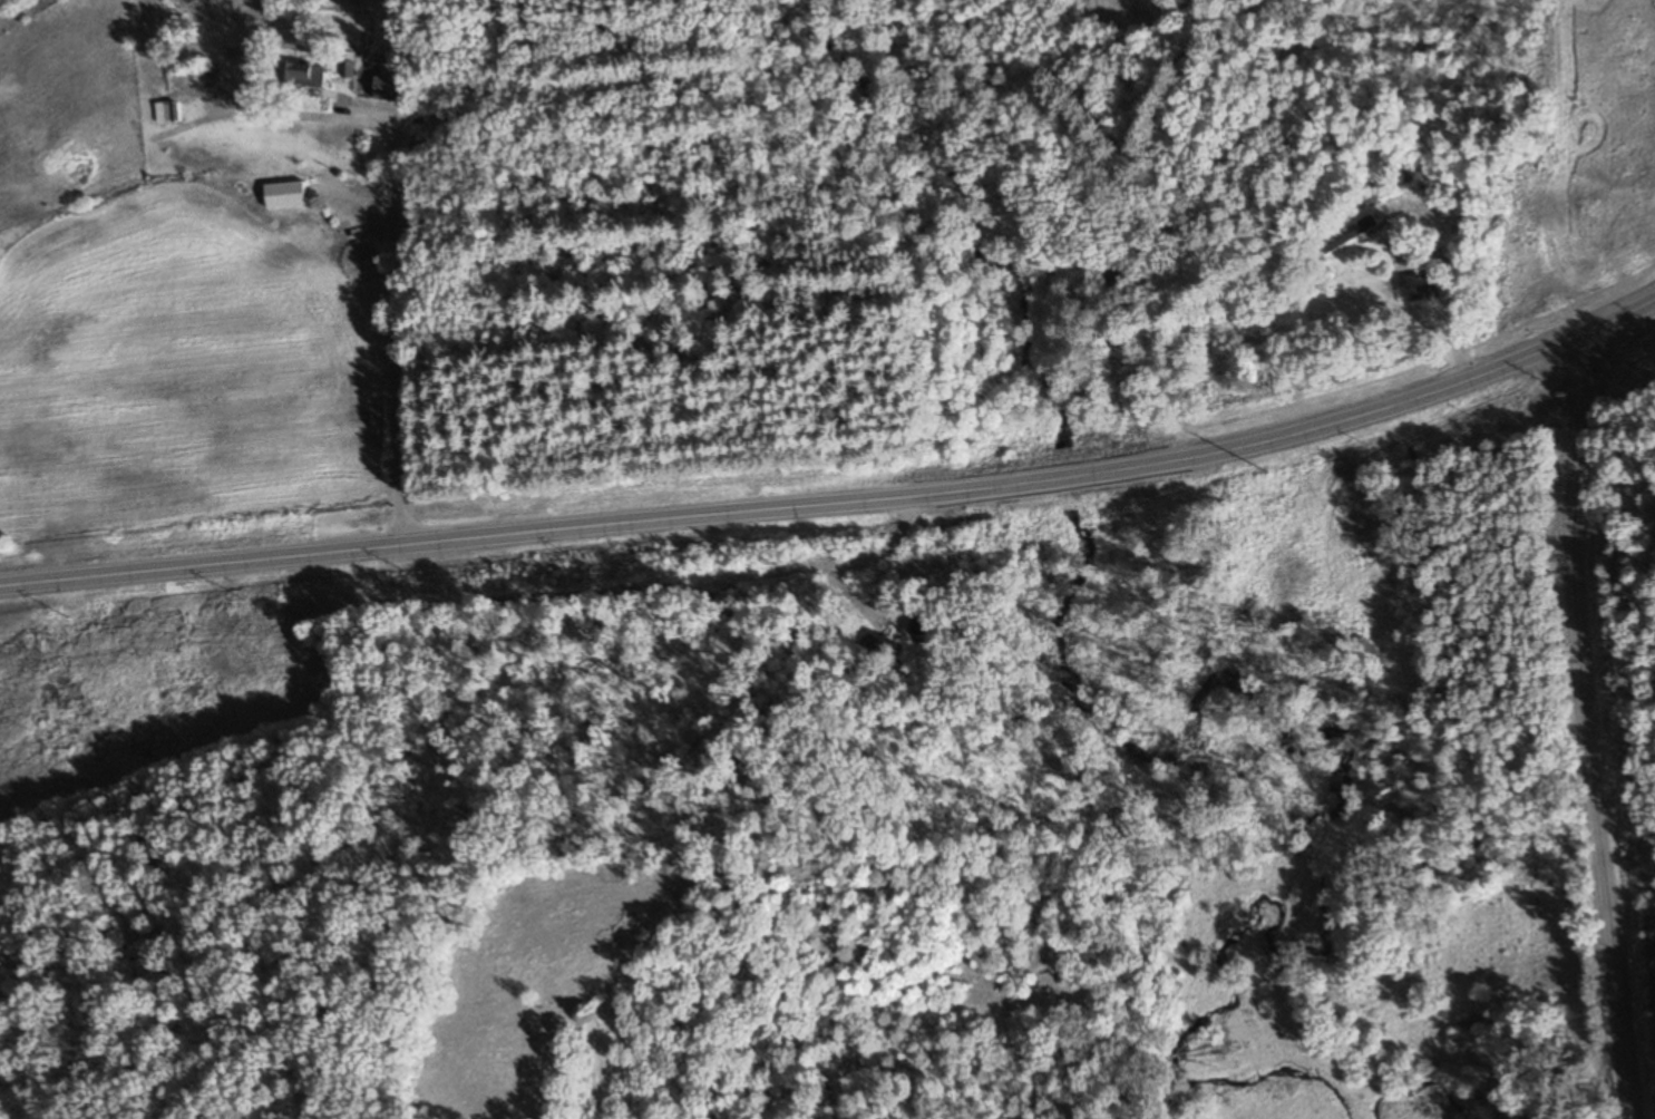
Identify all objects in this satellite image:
building: (293, 74)
building: (188, 77)
building: (386, 87)
building: (165, 111)
building: (1350, 233)
building: (1419, 288)
road: (390, 323)
road: (840, 503)
road: (1591, 726)

